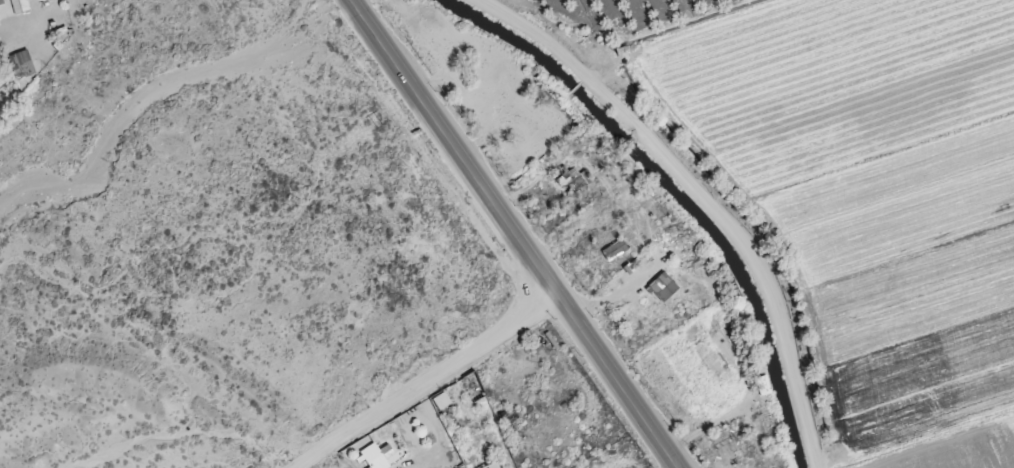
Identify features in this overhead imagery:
building: (621, 245)
building: (666, 282)
building: (726, 433)

